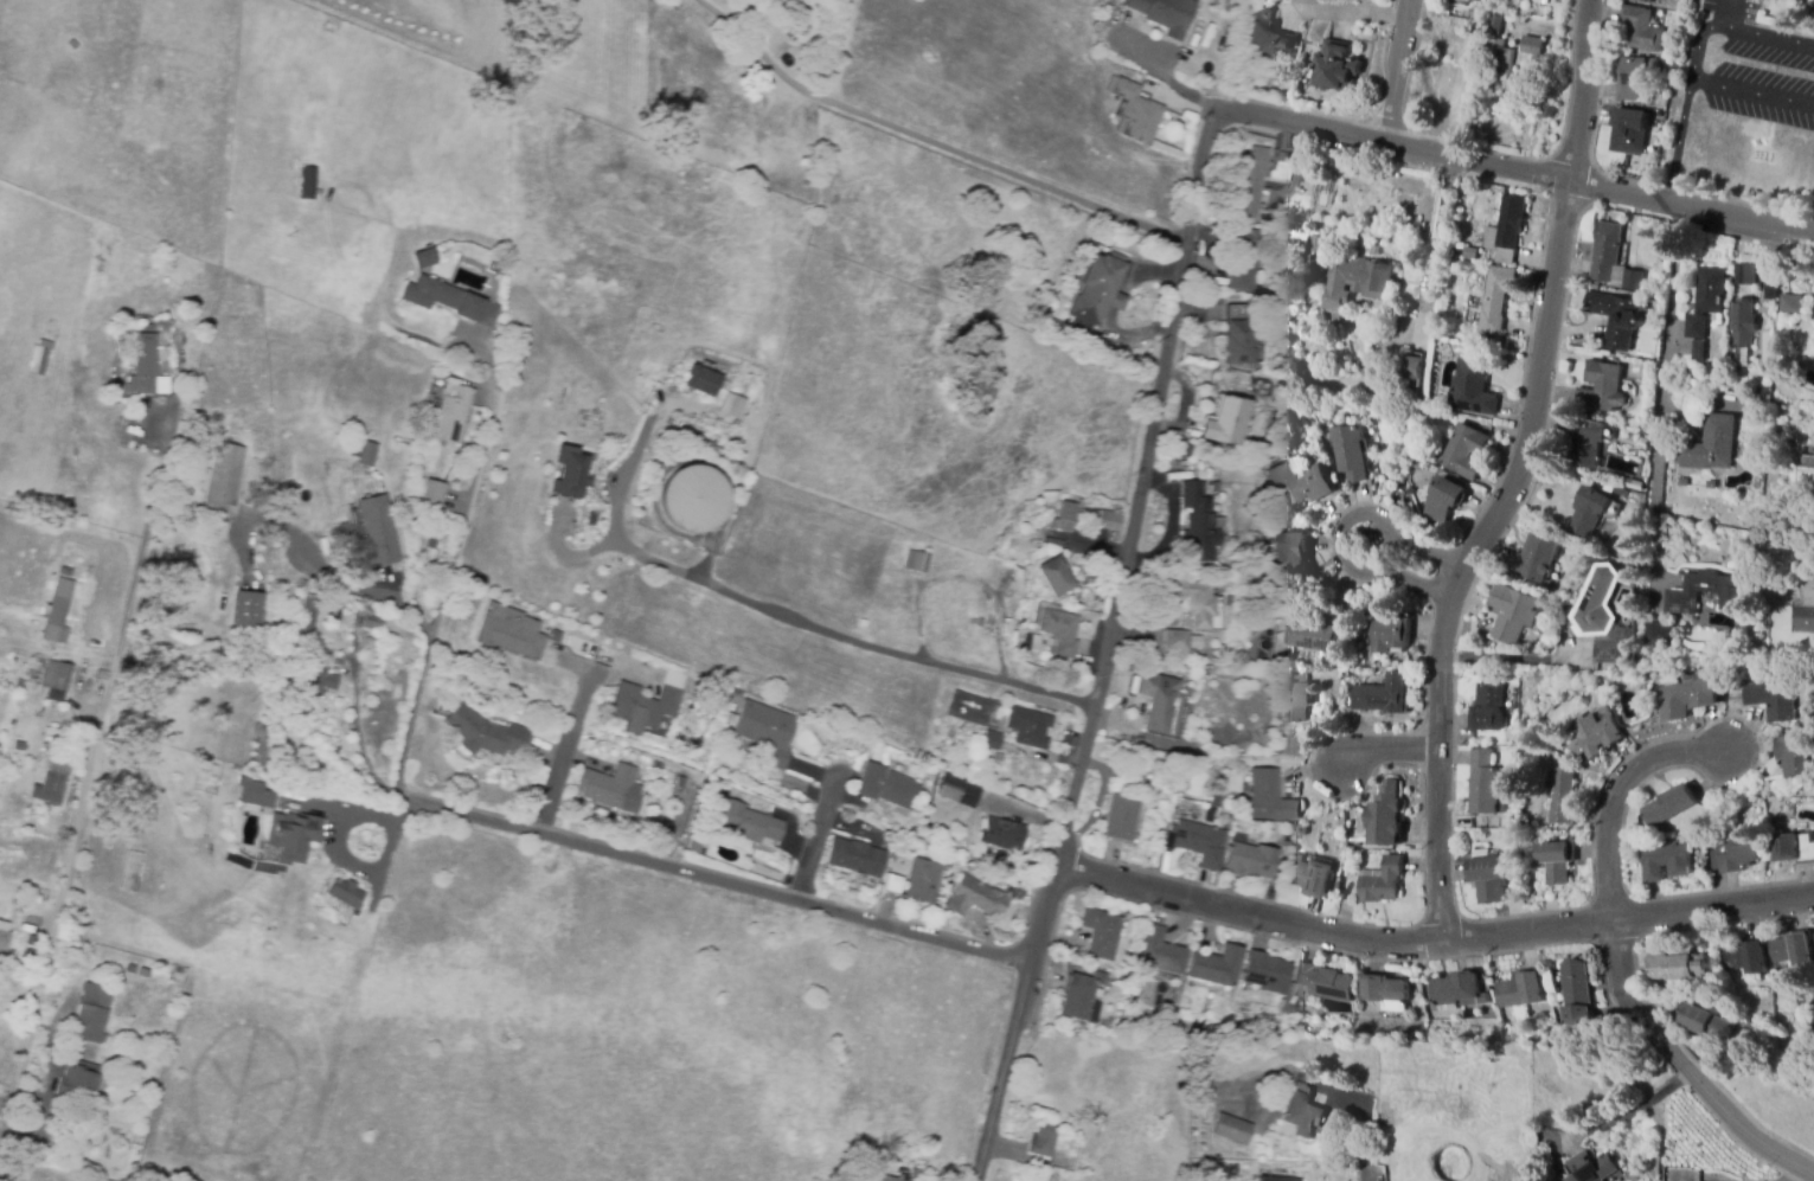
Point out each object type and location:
building: (1643, 1)
road: (1722, 12)
road: (1348, 13)
building: (1165, 14)
building: (1494, 28)
building: (1641, 30)
road: (1767, 36)
building: (1268, 37)
building: (70, 43)
building: (1533, 46)
road: (1696, 47)
building: (1499, 62)
road: (1156, 66)
building: (1335, 68)
road: (1396, 71)
building: (1630, 78)
road: (1751, 94)
building: (1135, 113)
building: (1659, 115)
building: (308, 130)
building: (1632, 133)
road: (930, 140)
road: (1677, 141)
road: (1513, 168)
building: (1251, 176)
building: (306, 185)
building: (1507, 231)
building: (1313, 243)
building: (1291, 245)
building: (1607, 251)
building: (1470, 253)
building: (1243, 256)
building: (423, 258)
building: (1745, 275)
building: (1355, 278)
building: (1633, 281)
building: (1098, 289)
building: (1258, 291)
building: (1496, 299)
building: (449, 301)
building: (1706, 301)
building: (1791, 304)
building: (1616, 319)
building: (1743, 322)
building: (146, 328)
building: (1238, 338)
building: (1698, 351)
building: (38, 359)
building: (1409, 364)
road: (491, 368)
building: (145, 370)
building: (1742, 372)
building: (701, 379)
building: (1602, 387)
building: (1472, 389)
road: (1661, 389)
building: (111, 400)
building: (730, 405)
building: (449, 409)
building: (136, 410)
building: (130, 422)
building: (1228, 422)
building: (1589, 443)
building: (1711, 445)
building: (1180, 449)
building: (1464, 451)
building: (1348, 452)
building: (368, 454)
building: (1805, 462)
road: (1513, 474)
building: (573, 475)
building: (223, 479)
building: (1681, 482)
building: (1300, 483)
building: (1633, 483)
building: (1710, 484)
building: (1213, 488)
building: (1620, 492)
building: (431, 496)
building: (1050, 496)
building: (690, 499)
building: (1444, 500)
road: (466, 508)
building: (1589, 512)
building: (1064, 518)
building: (1102, 519)
building: (1199, 524)
building: (377, 529)
road: (1335, 533)
building: (11, 537)
building: (1289, 551)
building: (1538, 559)
building: (916, 561)
building: (64, 573)
building: (1055, 577)
building: (1095, 582)
road: (365, 590)
building: (162, 593)
building: (1682, 593)
building: (1232, 599)
building: (1805, 601)
building: (1194, 602)
building: (1600, 604)
building: (245, 610)
road: (771, 611)
building: (1513, 612)
building: (56, 614)
building: (1038, 615)
building: (306, 616)
building: (371, 622)
building: (986, 628)
building: (509, 631)
building: (1062, 631)
building: (1390, 634)
building: (1314, 635)
building: (1661, 635)
building: (1175, 641)
building: (1032, 643)
road: (1113, 646)
building: (1613, 652)
building: (1188, 657)
building: (319, 675)
building: (187, 676)
building: (675, 679)
building: (55, 680)
building: (18, 686)
building: (697, 689)
building: (36, 693)
building: (1384, 695)
building: (1295, 697)
building: (1686, 699)
building: (1770, 699)
building: (1160, 705)
building: (643, 707)
road: (412, 710)
building: (1488, 710)
building: (1030, 726)
building: (485, 732)
building: (765, 732)
road: (358, 736)
building: (1596, 737)
building: (989, 739)
road: (564, 747)
road: (1389, 753)
building: (1794, 756)
building: (50, 782)
road: (86, 782)
building: (680, 782)
building: (1486, 783)
building: (885, 785)
building: (613, 788)
building: (962, 791)
building: (254, 792)
building: (1216, 796)
building: (1563, 797)
building: (1270, 798)
building: (1671, 807)
building: (1384, 815)
building: (1206, 817)
building: (1120, 819)
building: (749, 823)
building: (563, 824)
building: (1001, 834)
building: (294, 836)
road: (818, 839)
building: (1199, 842)
building: (694, 847)
building: (1794, 848)
building: (1737, 856)
building: (855, 858)
building: (1249, 861)
building: (1556, 861)
building: (1665, 862)
building: (1505, 869)
building: (130, 872)
building: (1310, 877)
road: (716, 879)
building: (1488, 879)
building: (1382, 881)
building: (924, 882)
building: (895, 885)
building: (1338, 886)
building: (345, 893)
building: (976, 898)
building: (15, 900)
building: (1101, 932)
building: (2, 942)
road: (1432, 942)
building: (27, 948)
building: (1794, 949)
building: (1160, 952)
building: (1745, 957)
road: (1615, 959)
building: (1678, 965)
building: (1216, 967)
building: (142, 974)
building: (1265, 974)
building: (1325, 982)
building: (1523, 989)
building: (1457, 990)
building: (1385, 993)
building: (1576, 994)
building: (1079, 1000)
building: (1243, 1008)
building: (1293, 1008)
building: (90, 1014)
building: (1538, 1016)
building: (1709, 1023)
building: (1711, 1050)
building: (116, 1059)
building: (77, 1084)
building: (1206, 1100)
road: (1, 1108)
building: (1302, 1112)
road: (1628, 1112)
building: (1231, 1129)
building: (1043, 1141)
building: (1591, 1168)
road: (1796, 1173)
building: (917, 1175)
road: (1370, 1175)
building: (893, 1179)
building: (1265, 1180)

